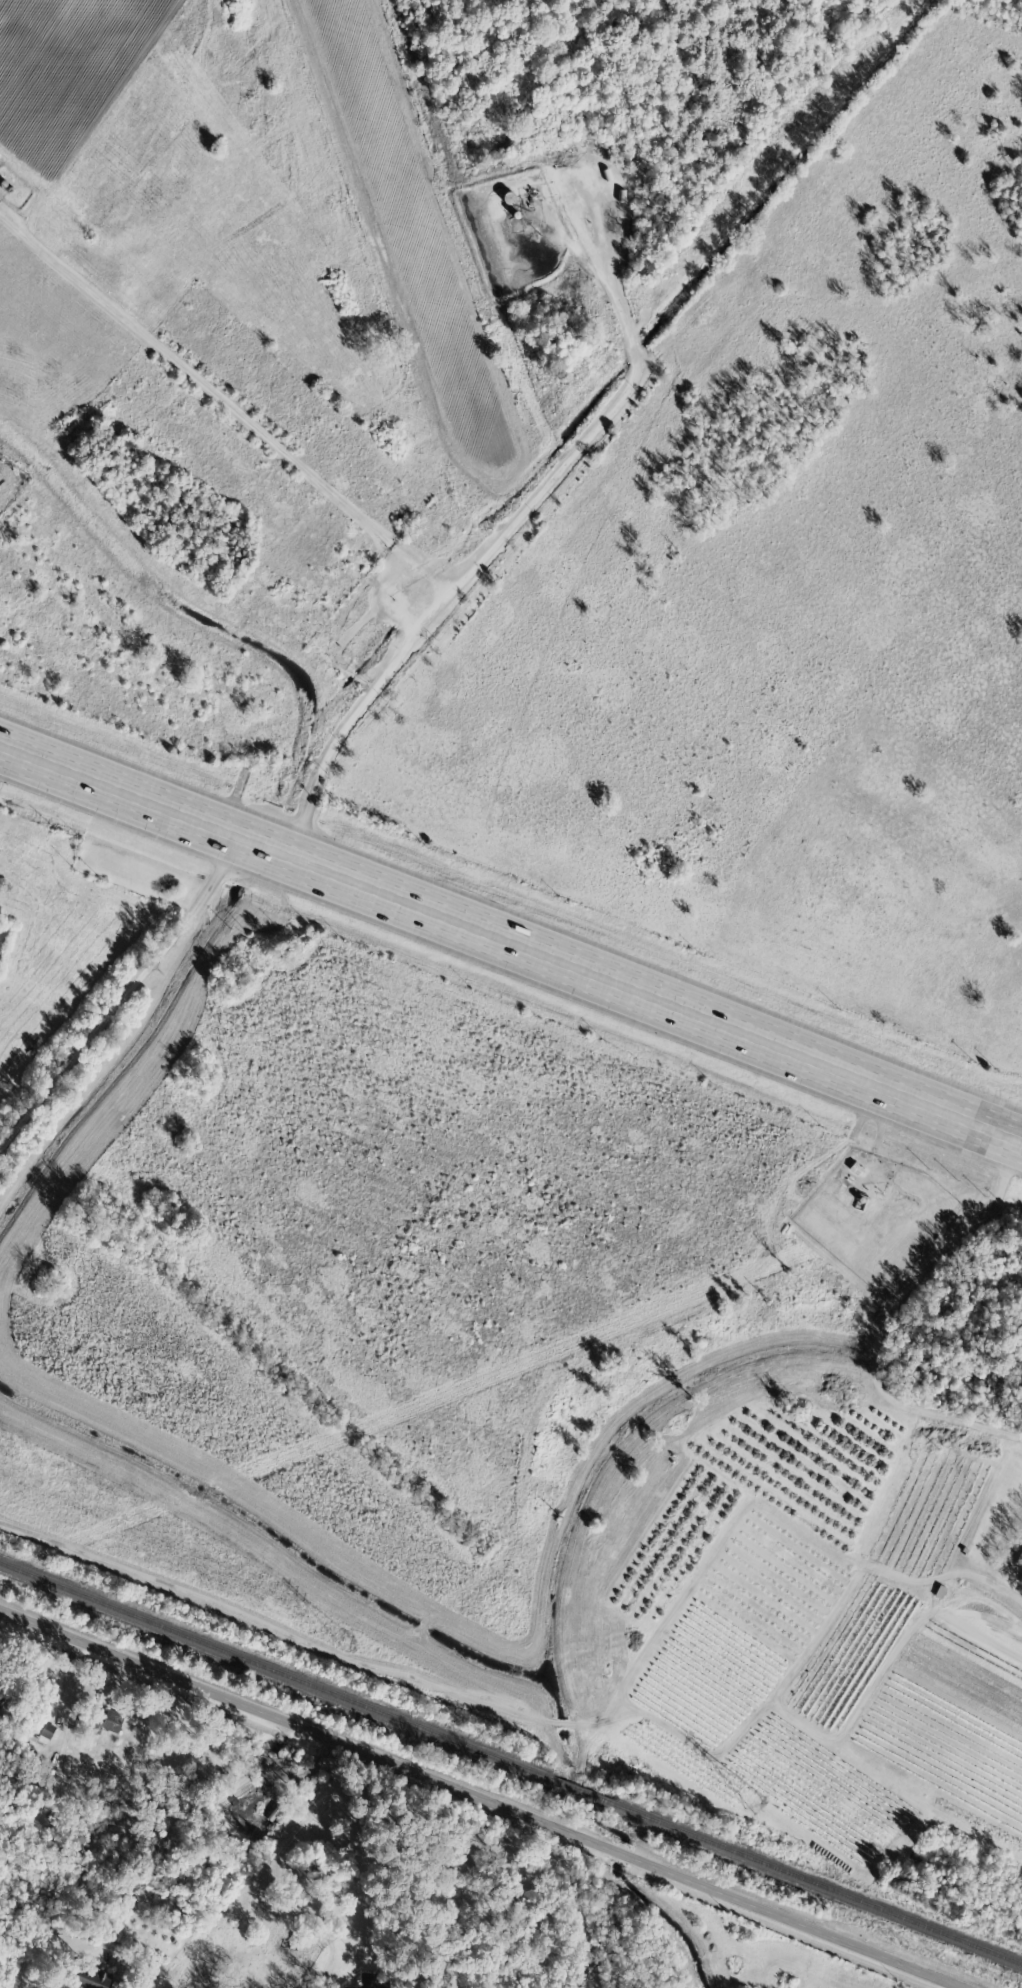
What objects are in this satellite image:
road: (224, 406)
road: (490, 550)
road: (2, 752)
road: (511, 943)
road: (126, 997)
road: (878, 1133)
road: (886, 1321)
road: (973, 1573)
power tower: (346, 1640)
building: (2, 1695)
building: (110, 1720)
road: (296, 1725)
railway: (511, 1763)
power tower: (755, 1802)
road: (770, 1916)
building: (93, 1977)
building: (370, 1981)

